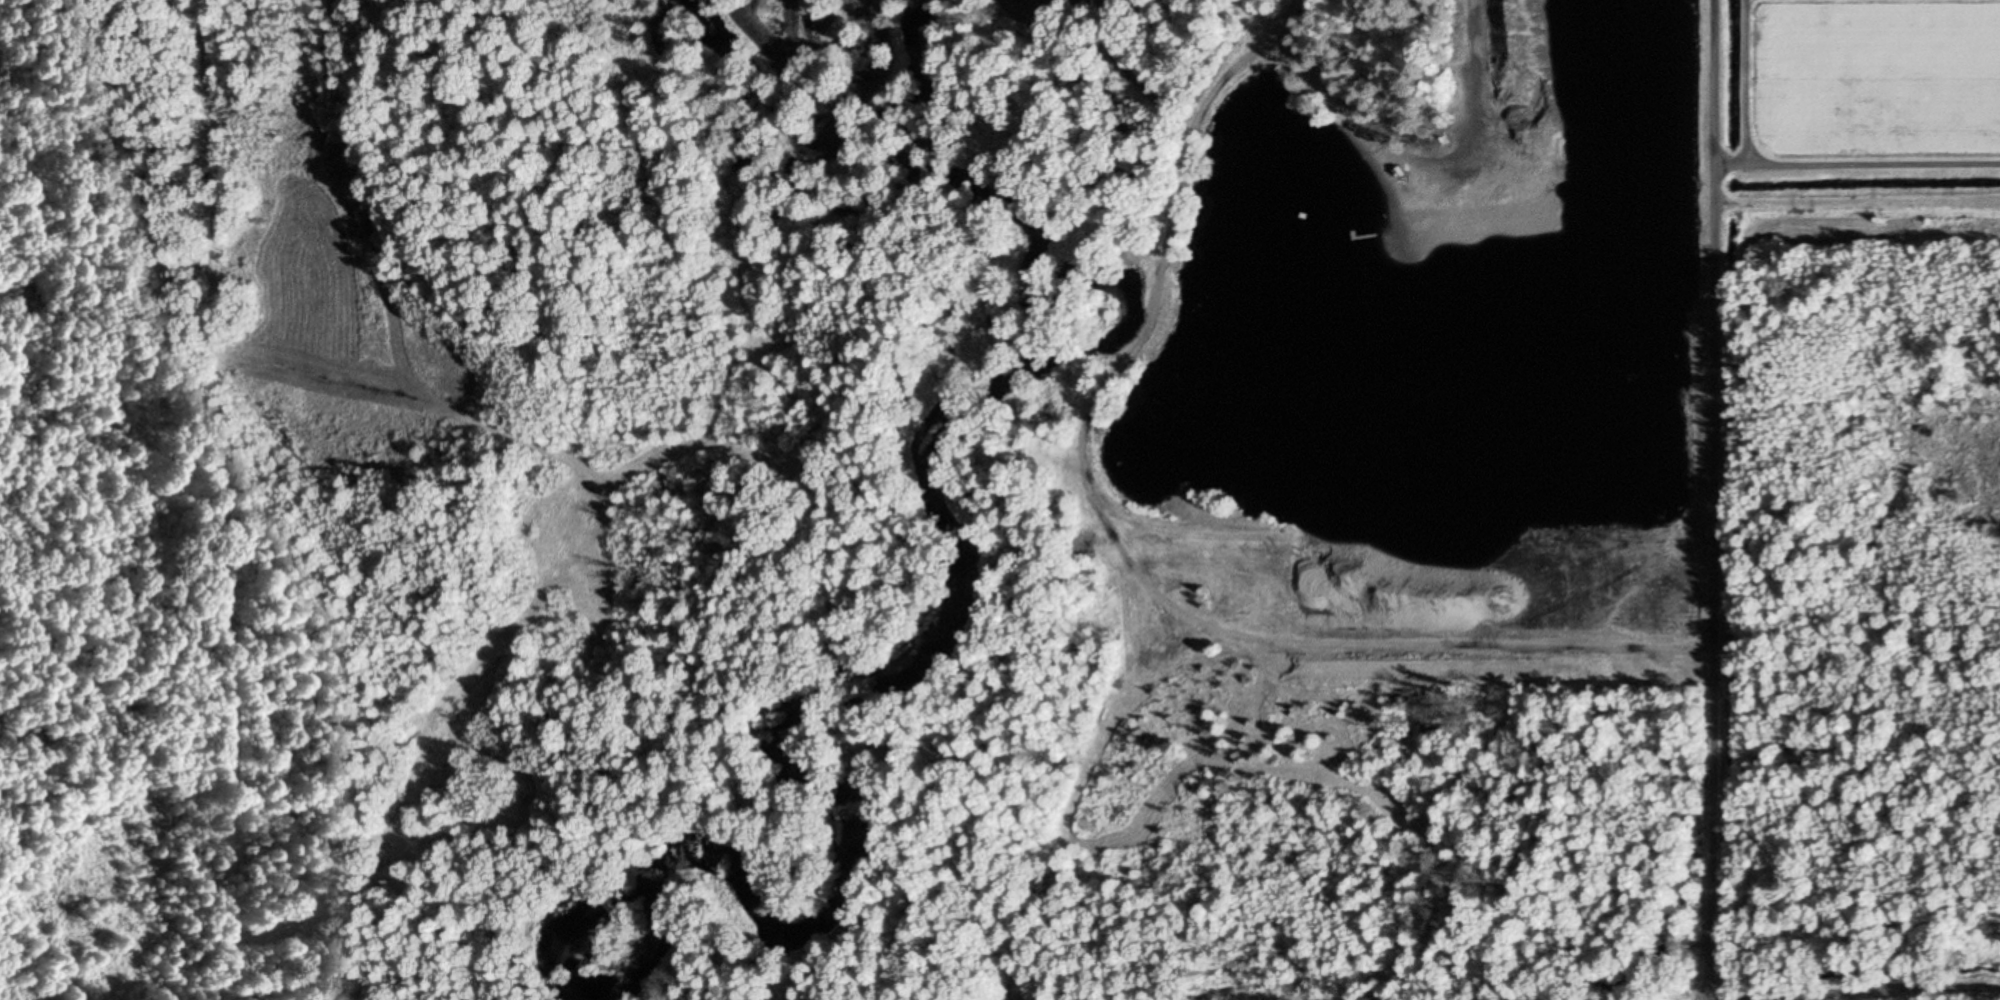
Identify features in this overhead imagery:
crop: (1856, 103)

